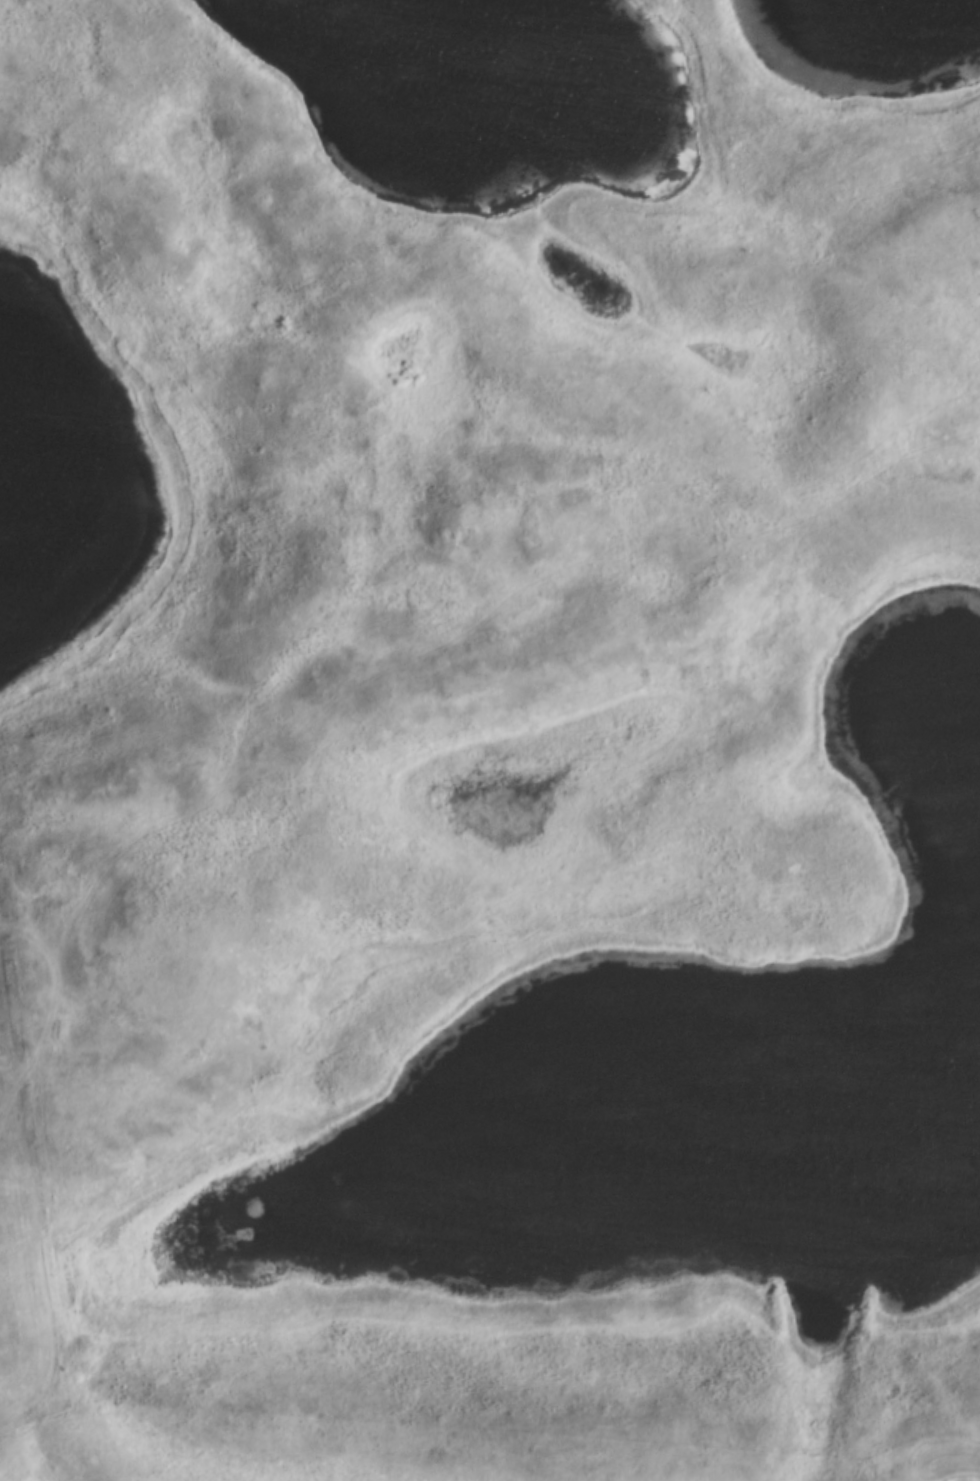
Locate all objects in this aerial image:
road: (487, 1434)

